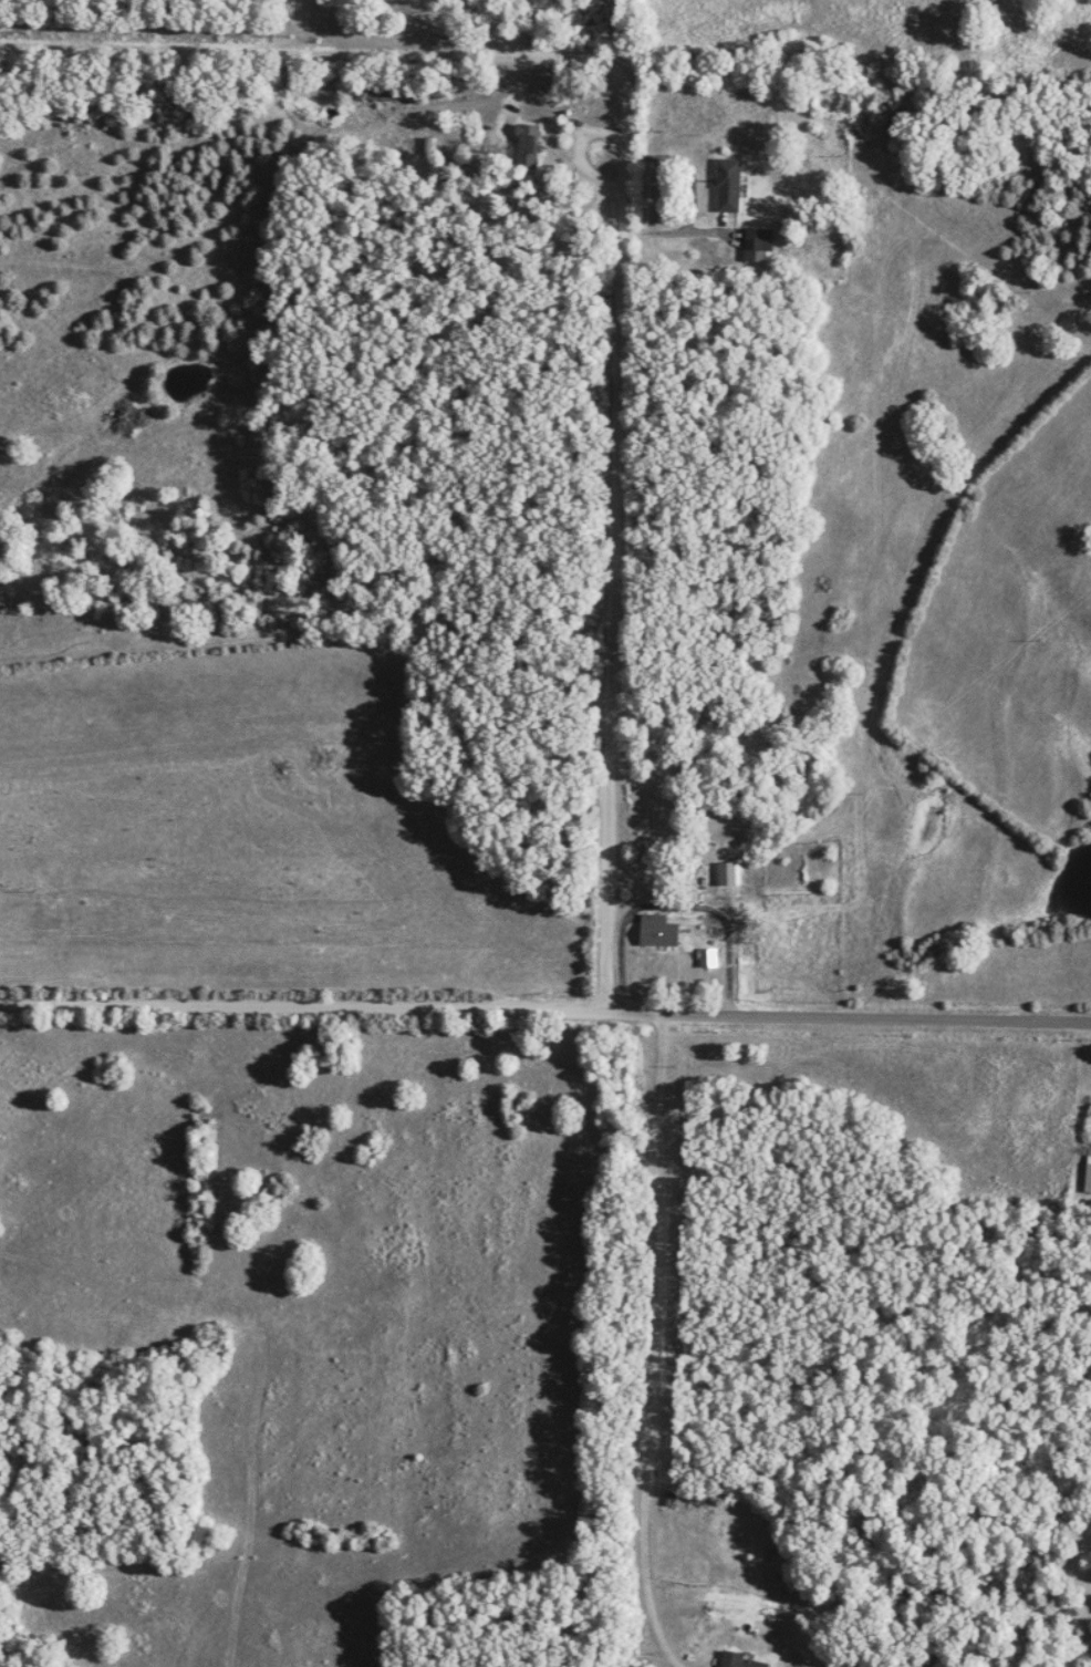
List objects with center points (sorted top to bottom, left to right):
road: (468, 21)
building: (527, 142)
building: (728, 183)
road: (620, 221)
road: (676, 228)
building: (759, 237)
road: (721, 900)
building: (658, 929)
building: (708, 955)
road: (300, 1004)
road: (846, 1013)
building: (1088, 1176)

